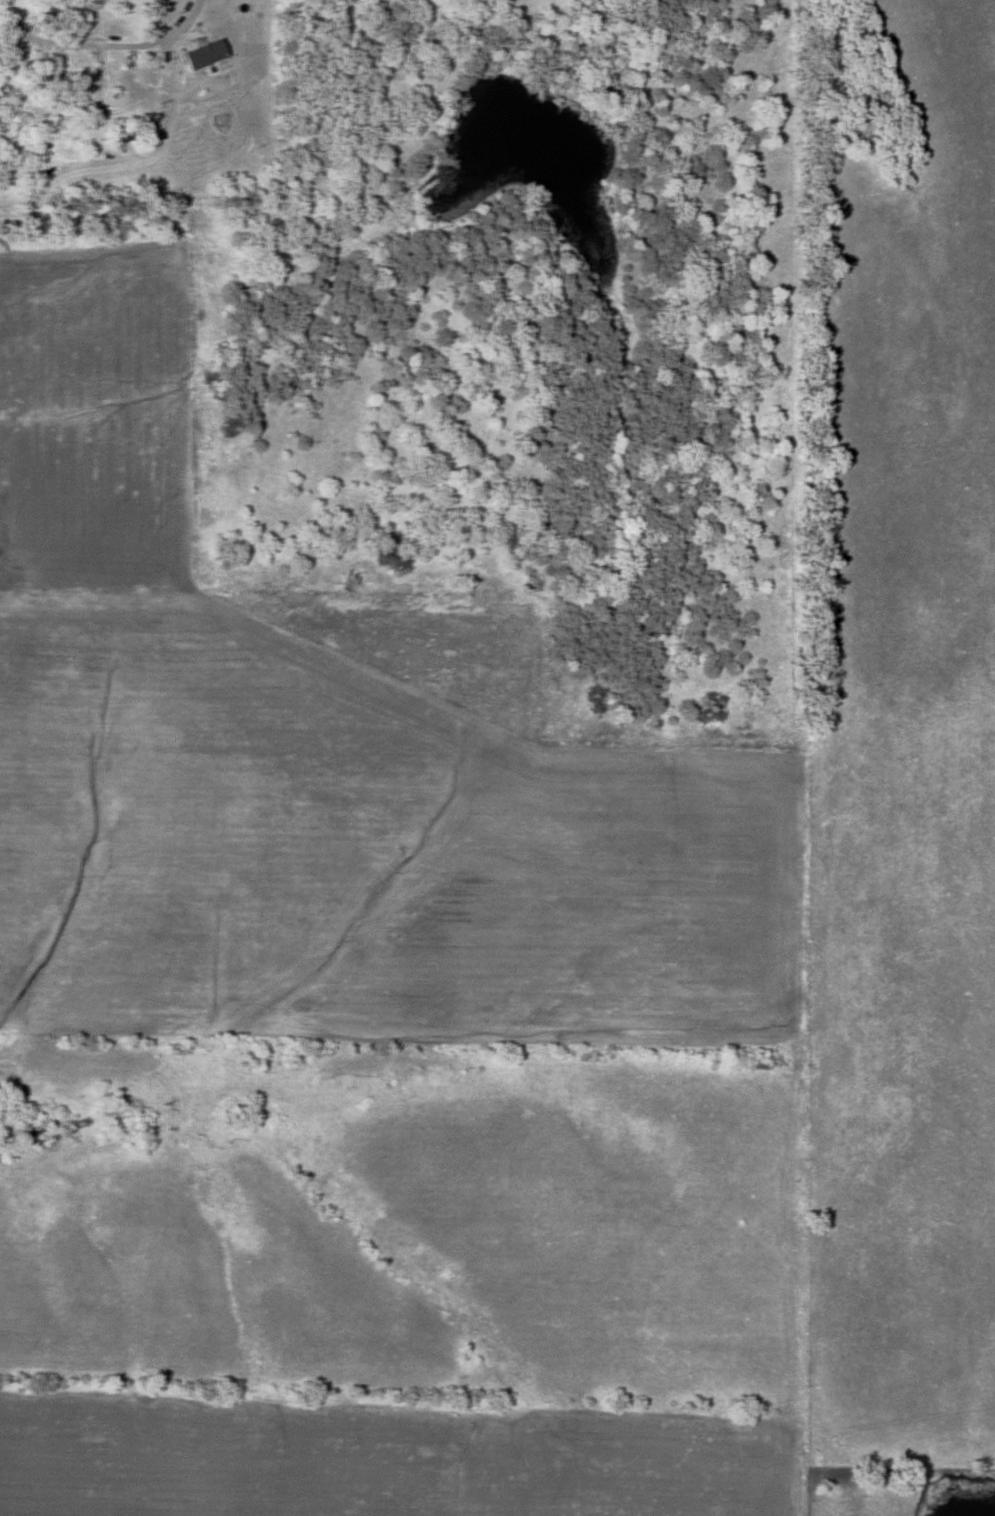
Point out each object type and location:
building: (49, 14)
road: (97, 41)
building: (205, 55)

